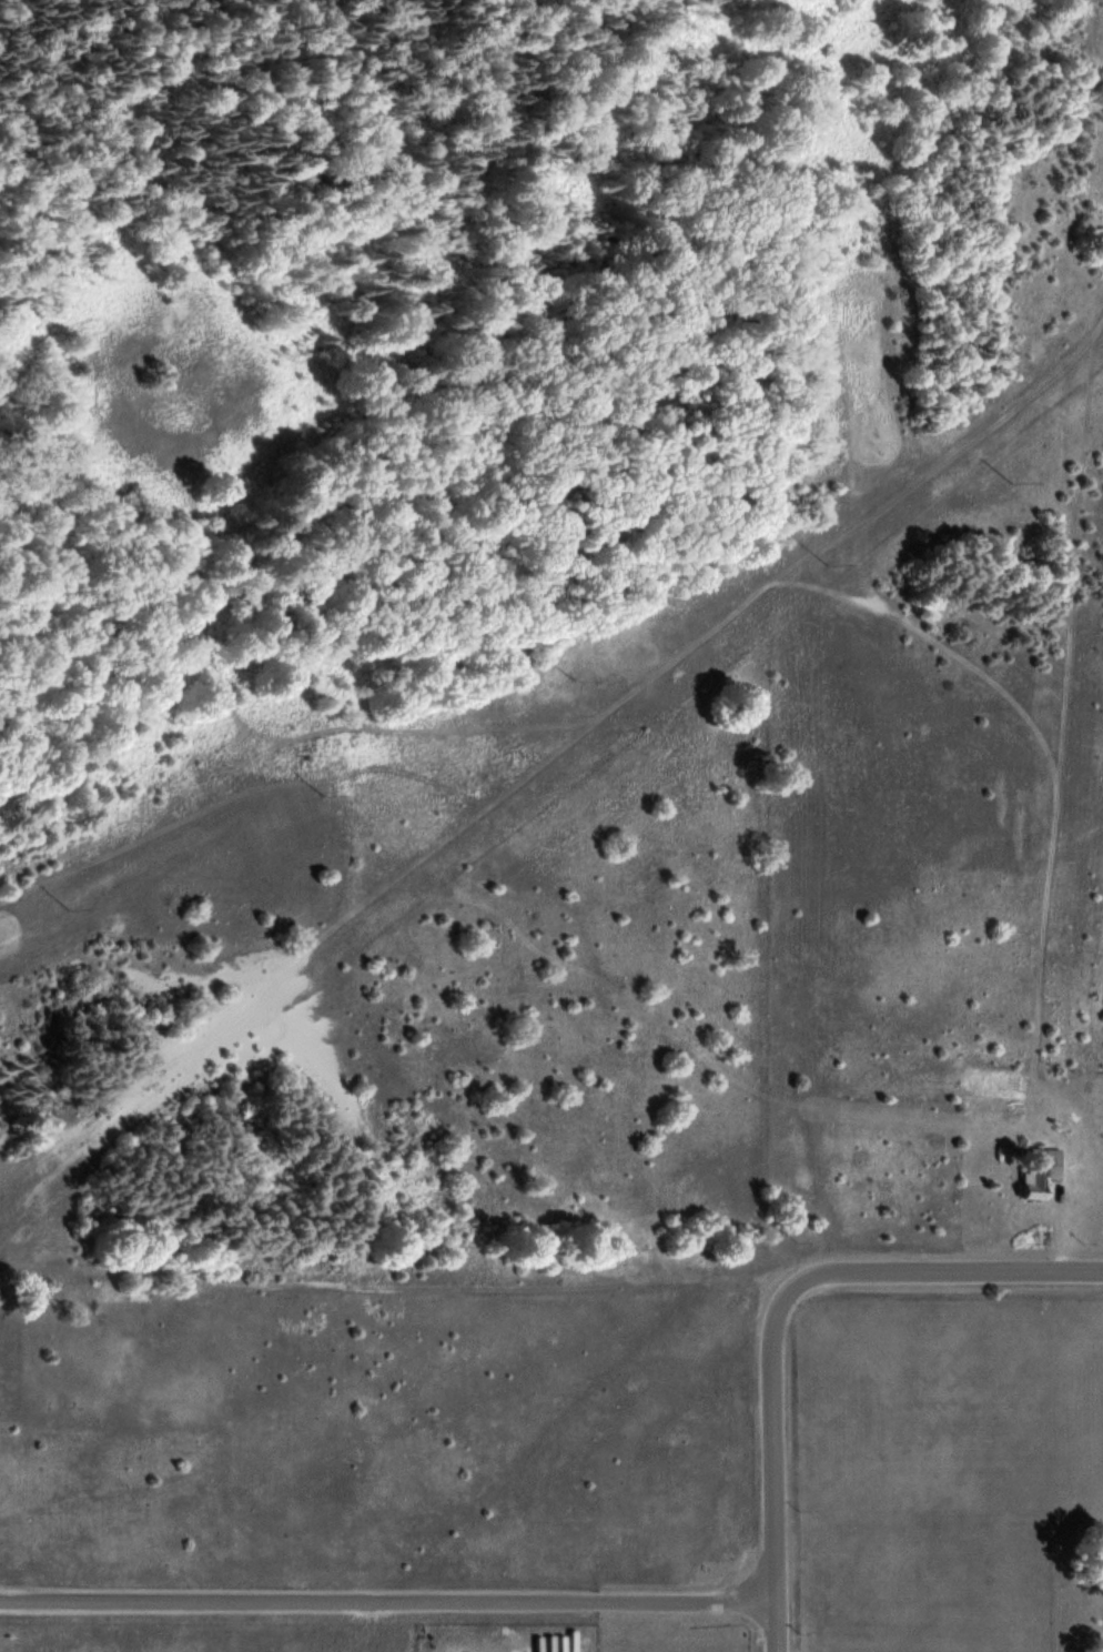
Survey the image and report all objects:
building: (1049, 1173)
building: (1032, 1180)
road: (935, 1273)
road: (773, 1472)
road: (386, 1604)

